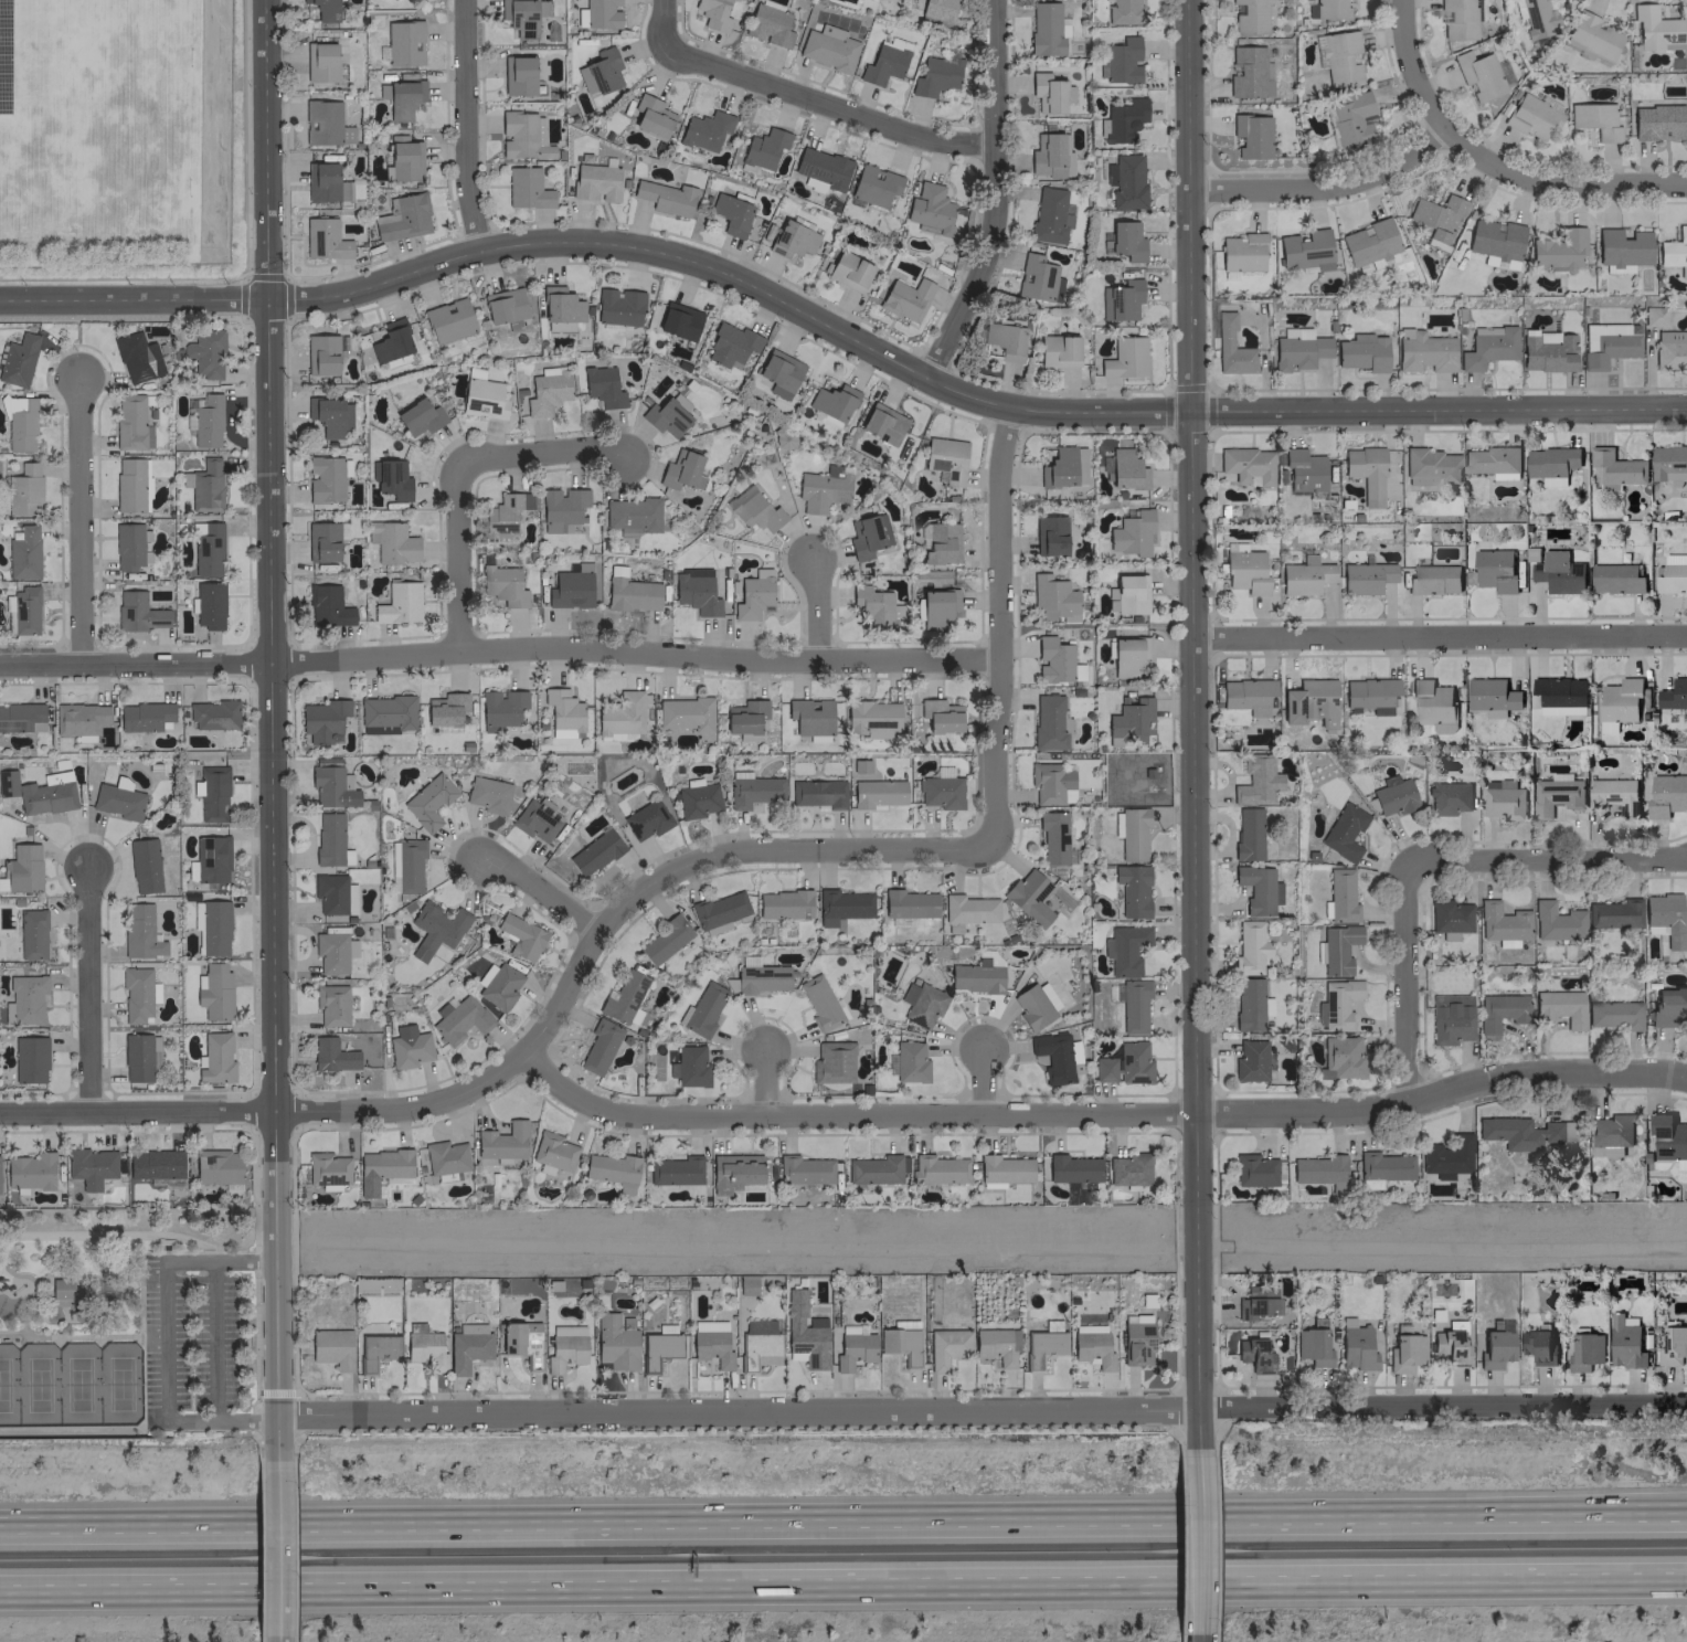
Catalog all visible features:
building: (1330, 9)
building: (325, 10)
building: (1123, 12)
building: (601, 13)
building: (712, 14)
building: (519, 17)
building: (1250, 17)
building: (1535, 17)
building: (1457, 19)
road: (659, 23)
building: (768, 25)
building: (1047, 29)
building: (1655, 29)
building: (1592, 38)
building: (403, 42)
building: (828, 47)
building: (1339, 57)
building: (1122, 60)
building: (320, 62)
building: (884, 62)
building: (604, 70)
road: (1410, 71)
building: (1249, 73)
building: (1478, 74)
building: (518, 75)
building: (935, 75)
building: (584, 77)
building: (1047, 92)
building: (403, 99)
road: (825, 105)
building: (651, 116)
building: (1531, 116)
building: (1123, 119)
building: (1350, 119)
building: (1595, 120)
building: (1657, 123)
building: (326, 124)
road: (463, 125)
building: (704, 129)
building: (522, 136)
building: (1251, 136)
road: (1437, 139)
building: (763, 148)
building: (1047, 155)
building: (404, 158)
building: (821, 167)
building: (1125, 181)
building: (595, 182)
building: (325, 183)
building: (873, 184)
building: (527, 189)
building: (665, 197)
road: (993, 197)
building: (930, 208)
building: (731, 213)
building: (1050, 214)
building: (1436, 215)
building: (405, 218)
building: (323, 239)
building: (792, 240)
building: (1125, 241)
building: (1495, 242)
building: (1368, 243)
building: (1559, 248)
building: (1674, 248)
building: (1305, 250)
building: (1622, 250)
building: (1241, 252)
building: (849, 271)
building: (1038, 278)
building: (905, 298)
building: (1120, 299)
building: (561, 305)
building: (618, 306)
building: (505, 307)
building: (1654, 316)
building: (448, 320)
building: (679, 321)
road: (838, 333)
building: (391, 341)
building: (1608, 342)
building: (731, 346)
building: (1231, 348)
building: (1298, 349)
building: (1488, 349)
building: (1548, 350)
building: (1670, 350)
building: (1058, 351)
building: (1362, 352)
building: (1425, 352)
building: (201, 353)
building: (321, 354)
building: (1124, 358)
building: (137, 359)
building: (18, 360)
building: (779, 372)
building: (602, 386)
building: (547, 391)
building: (482, 399)
building: (832, 401)
building: (326, 415)
building: (420, 417)
building: (665, 417)
building: (206, 421)
building: (882, 423)
building: (20, 424)
building: (130, 424)
road: (542, 456)
building: (946, 458)
building: (1492, 462)
building: (1668, 463)
building: (1550, 464)
building: (1246, 465)
building: (1430, 466)
building: (1059, 468)
building: (1616, 468)
building: (1126, 469)
building: (681, 470)
building: (1304, 472)
building: (1366, 473)
building: (326, 478)
building: (391, 478)
building: (131, 485)
building: (203, 485)
building: (823, 488)
building: (24, 490)
building: (739, 496)
building: (562, 509)
building: (506, 512)
building: (756, 513)
building: (632, 515)
road: (78, 520)
building: (1131, 533)
building: (1049, 534)
building: (867, 536)
building: (923, 536)
building: (325, 540)
building: (392, 542)
building: (941, 543)
building: (129, 544)
building: (208, 550)
building: (23, 553)
road: (458, 553)
building: (1494, 570)
building: (1245, 571)
building: (1558, 572)
building: (1672, 573)
building: (1305, 575)
building: (1366, 576)
building: (1615, 578)
building: (1433, 580)
building: (502, 585)
building: (570, 590)
building: (696, 591)
building: (1131, 593)
building: (632, 594)
building: (753, 594)
building: (1052, 598)
building: (399, 603)
building: (209, 605)
building: (327, 606)
building: (877, 607)
building: (936, 607)
road: (819, 608)
building: (24, 611)
building: (139, 612)
road: (999, 627)
road: (1439, 637)
road: (499, 649)
building: (1127, 655)
building: (1052, 659)
building: (1076, 671)
building: (1559, 691)
building: (1674, 693)
building: (1246, 695)
building: (1369, 695)
building: (1492, 696)
building: (1431, 701)
building: (1311, 702)
building: (1619, 702)
building: (500, 708)
building: (445, 709)
building: (1561, 710)
building: (386, 711)
building: (562, 712)
building: (622, 713)
building: (683, 713)
building: (213, 714)
building: (21, 717)
building: (145, 717)
building: (79, 718)
building: (745, 718)
building: (810, 718)
building: (871, 718)
building: (940, 718)
building: (323, 720)
building: (1129, 721)
building: (1050, 722)
road: (1192, 723)
road: (268, 730)
building: (1256, 781)
building: (1051, 783)
building: (331, 786)
building: (753, 791)
building: (940, 792)
building: (211, 793)
building: (818, 793)
building: (877, 793)
building: (36, 794)
building: (487, 794)
building: (1613, 794)
building: (1555, 795)
building: (1666, 795)
building: (1394, 797)
building: (1449, 797)
building: (697, 799)
building: (1503, 799)
building: (117, 801)
building: (428, 802)
building: (537, 819)
building: (645, 819)
building: (1116, 824)
building: (1344, 831)
building: (1132, 833)
building: (1248, 835)
building: (1052, 837)
building: (328, 838)
building: (594, 852)
road: (712, 854)
road: (1548, 856)
building: (211, 859)
building: (405, 865)
building: (144, 866)
building: (22, 868)
building: (1256, 889)
building: (1132, 890)
road: (540, 891)
building: (332, 893)
building: (1341, 896)
building: (1028, 897)
building: (784, 903)
building: (908, 903)
building: (841, 905)
building: (719, 909)
building: (968, 909)
building: (1613, 913)
building: (1450, 918)
building: (1664, 918)
building: (899, 921)
building: (1556, 921)
building: (1502, 923)
building: (214, 928)
building: (715, 928)
building: (435, 929)
building: (140, 932)
building: (31, 934)
building: (521, 936)
building: (664, 940)
building: (1249, 947)
building: (1124, 949)
building: (1338, 949)
building: (332, 952)
building: (749, 960)
road: (1409, 976)
building: (761, 977)
building: (498, 985)
road: (88, 989)
building: (214, 992)
building: (137, 994)
building: (26, 998)
building: (624, 998)
building: (819, 1002)
building: (922, 1003)
building: (331, 1004)
building: (1036, 1004)
building: (1250, 1004)
building: (1337, 1004)
building: (1133, 1005)
building: (444, 1006)
building: (1668, 1006)
building: (1560, 1007)
building: (701, 1009)
building: (1500, 1010)
building: (1614, 1014)
building: (1450, 1018)
building: (460, 1019)
building: (600, 1046)
building: (407, 1047)
building: (332, 1056)
building: (215, 1057)
building: (1057, 1057)
building: (140, 1058)
building: (1340, 1058)
building: (29, 1059)
building: (1250, 1060)
building: (910, 1061)
building: (832, 1062)
building: (689, 1067)
road: (767, 1081)
road: (985, 1082)
road: (269, 1111)
road: (1101, 1115)
building: (1612, 1130)
building: (1521, 1132)
building: (1669, 1140)
building: (501, 1141)
building: (1612, 1150)
building: (552, 1153)
building: (1446, 1156)
building: (445, 1157)
building: (89, 1166)
building: (216, 1166)
building: (1383, 1166)
building: (1072, 1168)
building: (1128, 1168)
building: (327, 1169)
building: (804, 1169)
building: (877, 1169)
building: (938, 1169)
building: (1002, 1169)
building: (1254, 1169)
building: (30, 1170)
building: (613, 1170)
building: (734, 1170)
building: (1318, 1170)
building: (382, 1172)
building: (677, 1172)
road: (112, 1236)
road: (219, 1260)
road: (100, 1278)
building: (62, 1289)
building: (116, 1290)
road: (47, 1291)
building: (1256, 1302)
park: (126, 1322)
building: (804, 1332)
road: (93, 1337)
road: (166, 1339)
road: (213, 1339)
building: (1136, 1339)
parking lot: (198, 1341)
building: (521, 1342)
building: (615, 1343)
building: (711, 1343)
building: (760, 1343)
building: (1624, 1343)
building: (900, 1344)
building: (1673, 1344)
building: (996, 1345)
building: (1450, 1345)
building: (422, 1346)
building: (1042, 1346)
building: (1092, 1346)
building: (1313, 1346)
building: (1537, 1346)
building: (331, 1347)
building: (468, 1347)
building: (565, 1347)
building: (946, 1347)
building: (1356, 1347)
building: (658, 1348)
building: (1496, 1348)
building: (375, 1350)
building: (853, 1350)
building: (1585, 1350)
building: (1405, 1352)
building: (1253, 1355)
park: (68, 1383)
road: (1197, 1388)
road: (623, 1391)
road: (980, 1410)
road: (221, 1420)
road: (871, 1517)
road: (28, 1523)
road: (28, 1526)
road: (1198, 1540)
road: (1179, 1542)
road: (1213, 1542)
road: (276, 1548)
road: (843, 1586)
road: (1180, 1638)
road: (1199, 1638)
road: (1214, 1638)
road: (277, 1639)

